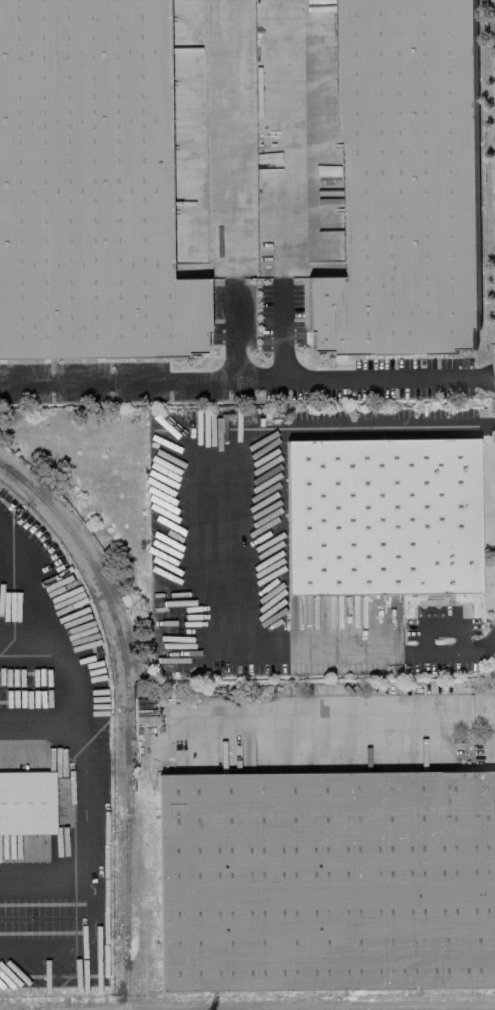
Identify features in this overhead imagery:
building: (403, 184)
building: (88, 185)
road: (281, 188)
road: (235, 189)
road: (247, 378)
building: (381, 514)
road: (213, 542)
road: (11, 586)
railway: (111, 606)
road: (6, 652)
road: (70, 665)
road: (332, 714)
road: (39, 730)
building: (26, 801)
road: (90, 848)
building: (326, 879)
railway: (128, 899)
building: (146, 906)
road: (82, 945)

